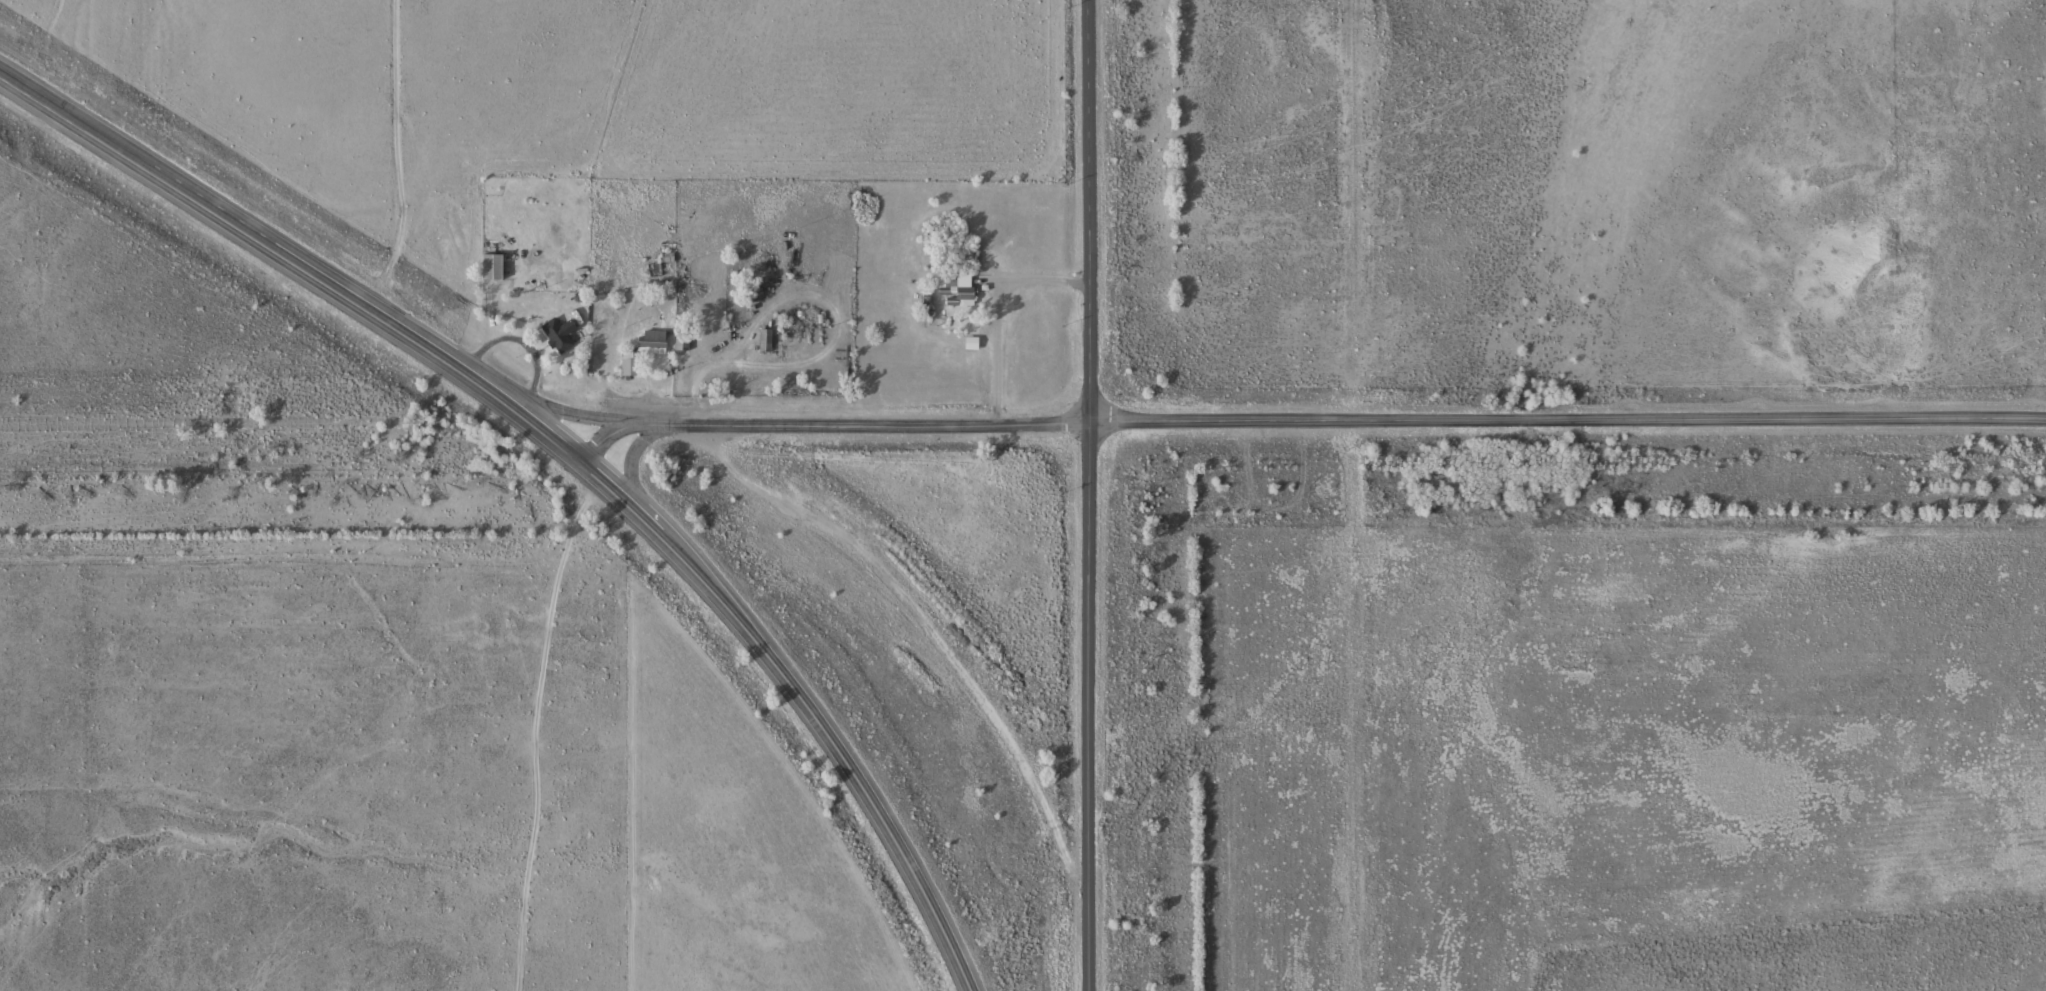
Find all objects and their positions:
building: (496, 265)
building: (961, 284)
building: (563, 333)
building: (655, 338)
building: (770, 339)
building: (686, 341)
road: (551, 408)
road: (1341, 426)
road: (604, 436)
road: (566, 452)
road: (635, 458)
road: (1089, 495)

